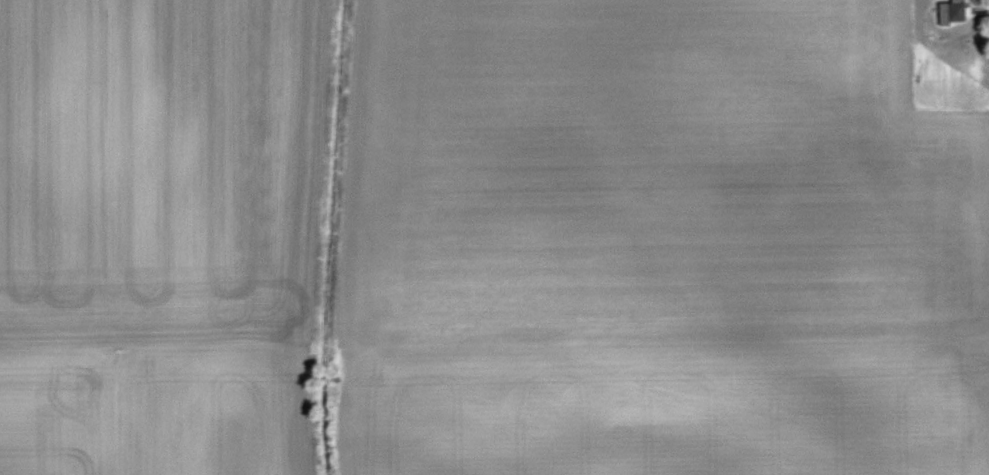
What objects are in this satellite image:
building: (955, 12)

